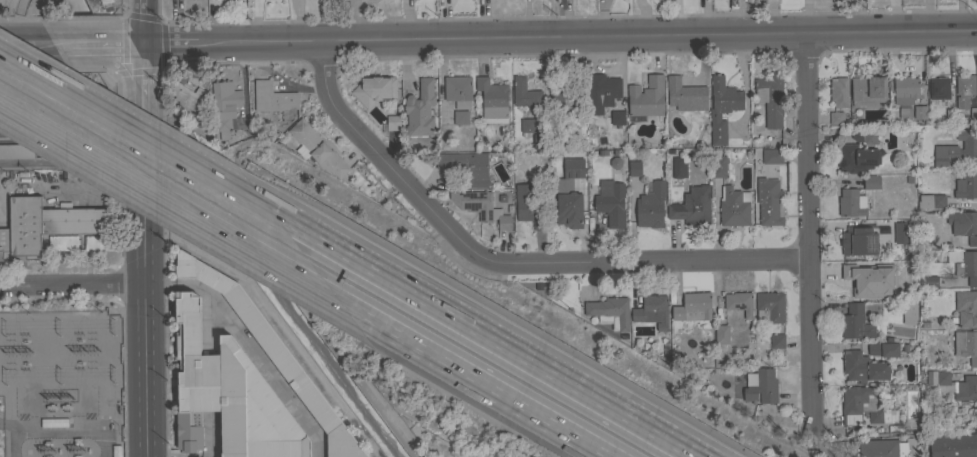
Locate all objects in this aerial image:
road: (62, 4)
park: (43, 7)
road: (10, 10)
road: (28, 12)
road: (62, 16)
road: (125, 19)
road: (592, 36)
road: (174, 40)
road: (87, 42)
road: (131, 42)
road: (27, 43)
road: (120, 71)
road: (103, 85)
building: (939, 88)
building: (374, 90)
building: (458, 90)
building: (868, 90)
building: (905, 90)
building: (964, 90)
building: (839, 91)
building: (602, 92)
building: (525, 93)
building: (565, 93)
building: (686, 95)
building: (189, 96)
building: (271, 97)
building: (646, 97)
building: (976, 98)
building: (492, 100)
building: (770, 100)
building: (224, 106)
building: (722, 107)
building: (420, 109)
road: (117, 110)
building: (920, 113)
building: (901, 114)
building: (460, 117)
building: (617, 118)
building: (836, 118)
road: (113, 120)
building: (393, 122)
building: (527, 126)
building: (864, 137)
building: (541, 141)
building: (956, 148)
building: (317, 149)
building: (16, 150)
building: (772, 156)
building: (857, 158)
road: (71, 162)
building: (467, 166)
building: (718, 166)
building: (678, 167)
building: (635, 168)
building: (871, 182)
road: (163, 184)
building: (966, 184)
road: (144, 188)
building: (569, 195)
building: (769, 201)
building: (931, 201)
building: (851, 202)
building: (611, 204)
building: (651, 205)
building: (692, 205)
building: (734, 206)
building: (481, 207)
building: (529, 210)
building: (520, 214)
building: (74, 220)
building: (964, 225)
building: (25, 227)
road: (143, 228)
building: (901, 232)
road: (807, 235)
building: (859, 240)
building: (62, 242)
building: (99, 242)
building: (4, 244)
road: (204, 255)
building: (954, 256)
road: (502, 266)
building: (967, 267)
building: (928, 281)
road: (71, 282)
building: (858, 282)
building: (739, 302)
building: (693, 307)
building: (770, 307)
building: (966, 308)
building: (610, 309)
building: (652, 311)
building: (909, 313)
road: (463, 321)
building: (856, 322)
building: (721, 334)
building: (777, 341)
building: (966, 345)
building: (889, 349)
building: (274, 353)
road: (301, 354)
road: (450, 363)
building: (863, 367)
power substation: (60, 384)
building: (953, 384)
building: (761, 386)
building: (228, 395)
building: (862, 406)
building: (54, 422)
road: (210, 438)
building: (953, 445)
building: (881, 448)
building: (116, 451)

